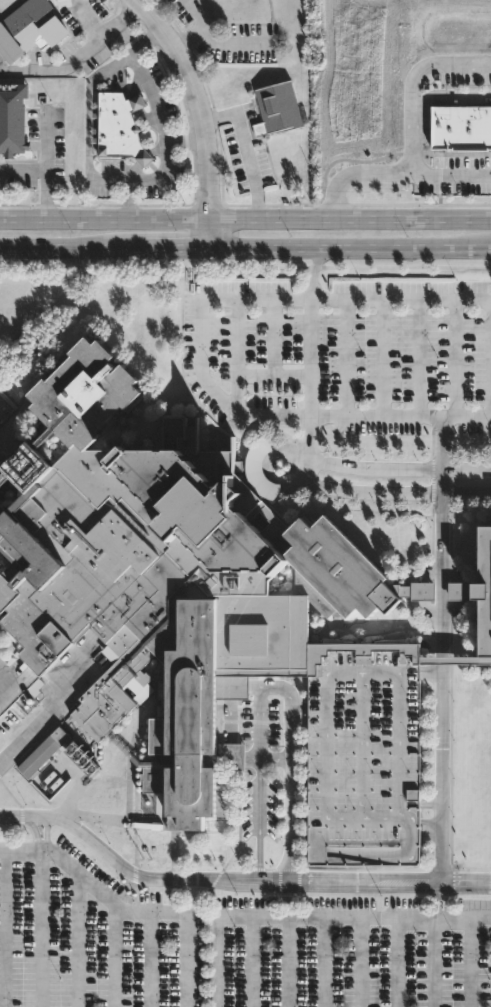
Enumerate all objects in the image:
road: (88, 18)
road: (196, 27)
building: (29, 30)
road: (77, 57)
road: (411, 85)
road: (447, 95)
road: (151, 97)
building: (277, 108)
road: (203, 113)
building: (13, 119)
building: (121, 127)
building: (461, 128)
road: (46, 143)
road: (246, 151)
road: (45, 173)
road: (395, 176)
road: (143, 179)
road: (245, 219)
road: (69, 247)
road: (175, 248)
road: (351, 248)
road: (313, 272)
road: (401, 298)
road: (237, 335)
road: (271, 336)
road: (310, 356)
parking lot: (342, 356)
road: (348, 357)
road: (384, 358)
road: (421, 359)
road: (458, 359)
road: (256, 375)
parking lot: (7, 413)
road: (244, 414)
road: (309, 439)
road: (376, 463)
road: (467, 465)
road: (309, 472)
road: (467, 493)
road: (376, 495)
building: (210, 615)
road: (443, 667)
road: (432, 673)
road: (3, 686)
road: (301, 708)
road: (293, 710)
road: (262, 724)
road: (42, 725)
parking lot: (366, 755)
road: (278, 762)
parking lot: (261, 773)
road: (433, 805)
road: (262, 822)
road: (433, 829)
road: (43, 834)
road: (136, 876)
road: (391, 883)
road: (233, 919)
road: (5, 929)
road: (40, 929)
road: (76, 941)
parking lot: (225, 944)
road: (291, 945)
road: (113, 959)
road: (150, 959)
road: (187, 960)
road: (218, 963)
road: (252, 963)
road: (326, 963)
road: (361, 963)
road: (398, 963)
road: (433, 963)
road: (469, 963)

